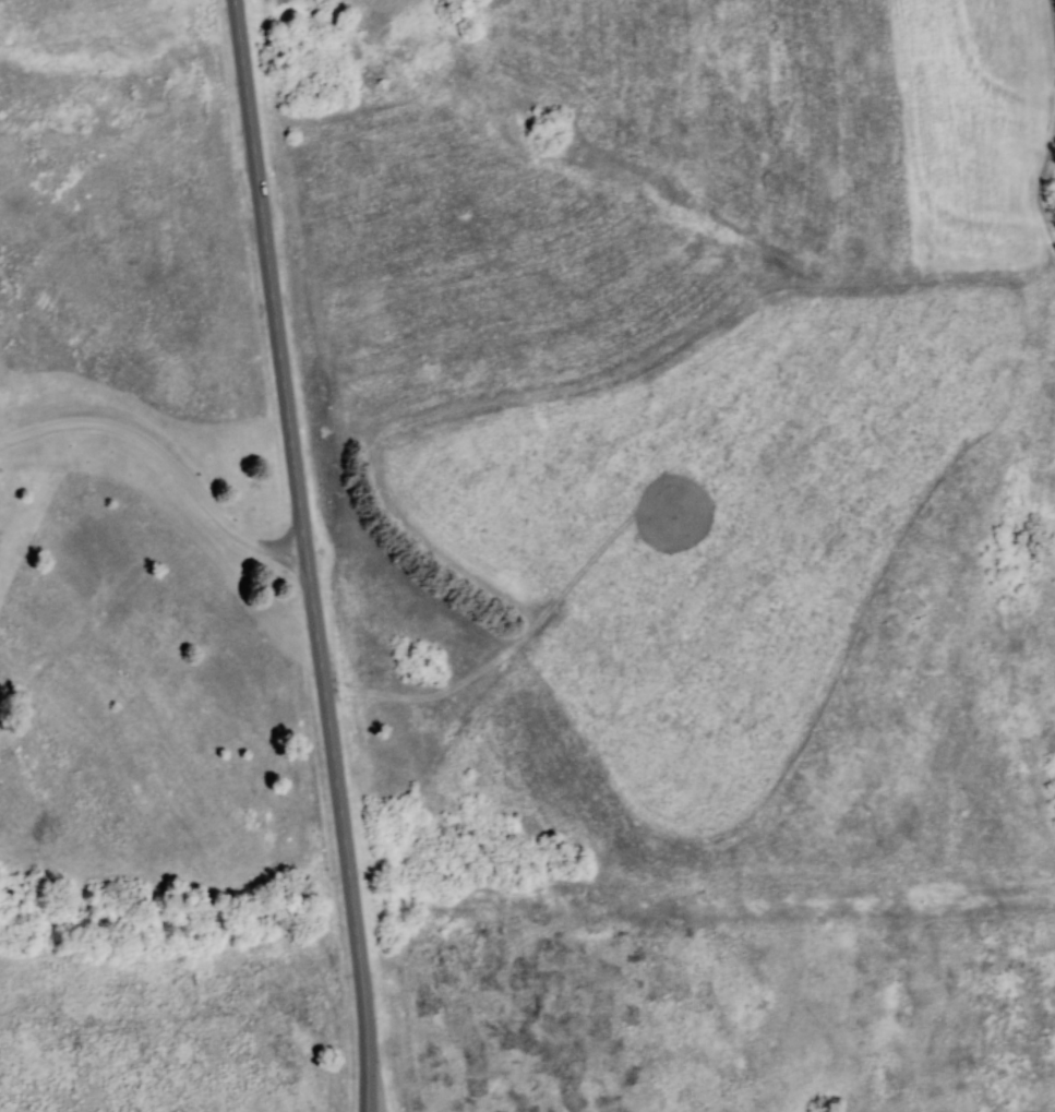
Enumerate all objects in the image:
road: (232, 1)
road: (163, 462)
road: (303, 557)
park: (154, 598)

